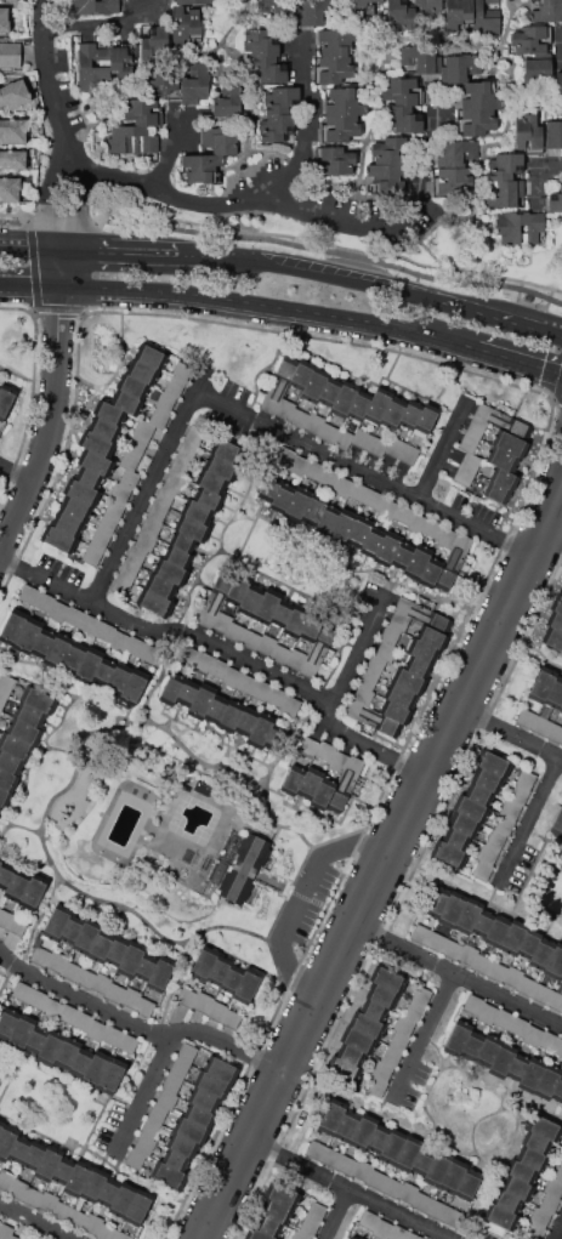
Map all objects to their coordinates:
building: (8, 0)
building: (193, 1)
building: (368, 1)
building: (93, 6)
building: (428, 6)
building: (310, 11)
building: (547, 11)
building: (459, 12)
building: (401, 15)
building: (486, 16)
building: (4, 19)
road: (234, 21)
road: (93, 23)
building: (185, 24)
building: (532, 39)
building: (261, 41)
building: (336, 42)
building: (154, 44)
building: (10, 55)
building: (421, 57)
building: (101, 64)
building: (269, 68)
building: (461, 68)
building: (331, 69)
building: (538, 69)
building: (163, 83)
building: (195, 83)
building: (558, 89)
building: (402, 91)
building: (13, 95)
building: (481, 95)
building: (228, 100)
building: (282, 100)
building: (345, 102)
building: (141, 110)
building: (404, 118)
building: (476, 121)
building: (276, 126)
building: (340, 127)
building: (12, 130)
building: (528, 131)
building: (552, 135)
building: (131, 140)
road: (58, 141)
building: (218, 141)
building: (390, 147)
building: (455, 153)
building: (12, 159)
building: (336, 160)
building: (386, 166)
building: (201, 169)
road: (538, 171)
building: (507, 178)
building: (453, 181)
building: (10, 189)
building: (555, 200)
road: (248, 204)
road: (393, 225)
building: (523, 227)
road: (283, 244)
road: (28, 246)
road: (117, 249)
road: (188, 252)
road: (314, 269)
road: (29, 284)
road: (268, 306)
road: (495, 313)
building: (151, 356)
road: (518, 362)
building: (141, 370)
building: (181, 371)
building: (301, 374)
building: (278, 385)
building: (314, 385)
building: (131, 386)
building: (174, 387)
building: (330, 391)
building: (6, 399)
building: (345, 399)
building: (165, 400)
building: (126, 403)
building: (359, 405)
building: (377, 405)
building: (284, 409)
building: (393, 411)
building: (109, 413)
building: (411, 414)
building: (159, 417)
building: (297, 417)
building: (426, 417)
building: (503, 421)
building: (313, 422)
road: (52, 426)
building: (103, 427)
building: (477, 427)
building: (143, 428)
building: (328, 432)
building: (194, 434)
building: (342, 438)
building: (361, 438)
building: (469, 442)
building: (96, 443)
building: (509, 443)
building: (137, 444)
building: (376, 445)
building: (394, 447)
building: (187, 450)
building: (226, 450)
building: (409, 454)
road: (439, 454)
building: (285, 456)
building: (503, 459)
building: (129, 460)
building: (95, 461)
building: (471, 461)
building: (299, 464)
building: (180, 466)
building: (222, 467)
building: (314, 470)
road: (18, 472)
building: (464, 476)
building: (89, 477)
building: (329, 477)
road: (365, 477)
building: (504, 477)
building: (129, 478)
building: (175, 482)
building: (211, 482)
building: (344, 487)
building: (269, 488)
building: (81, 491)
building: (119, 491)
building: (359, 491)
building: (496, 491)
building: (165, 495)
road: (147, 498)
building: (282, 498)
building: (208, 499)
building: (375, 500)
building: (299, 502)
building: (74, 507)
building: (115, 508)
building: (314, 508)
building: (388, 508)
building: (158, 511)
building: (195, 511)
building: (404, 513)
building: (328, 519)
building: (67, 523)
building: (107, 523)
building: (418, 523)
building: (151, 525)
building: (342, 525)
building: (192, 528)
building: (433, 528)
building: (358, 532)
building: (447, 538)
building: (58, 539)
building: (100, 539)
building: (146, 541)
building: (182, 541)
building: (373, 541)
building: (387, 547)
building: (92, 555)
building: (136, 555)
building: (177, 556)
building: (402, 556)
building: (418, 562)
building: (453, 562)
building: (129, 570)
building: (170, 572)
building: (431, 572)
building: (121, 585)
building: (160, 586)
building: (238, 590)
building: (560, 591)
building: (29, 595)
building: (250, 599)
building: (44, 601)
building: (153, 602)
building: (214, 602)
building: (557, 604)
building: (267, 606)
building: (58, 610)
building: (282, 613)
building: (422, 614)
building: (73, 615)
building: (399, 620)
building: (555, 620)
building: (222, 621)
building: (296, 621)
building: (89, 624)
building: (13, 626)
building: (311, 629)
building: (104, 631)
building: (235, 632)
building: (390, 635)
building: (28, 636)
building: (432, 637)
building: (552, 637)
building: (250, 640)
building: (119, 641)
building: (42, 643)
building: (266, 644)
building: (134, 646)
road: (225, 646)
road: (357, 649)
building: (57, 650)
building: (317, 652)
building: (386, 652)
building: (422, 652)
building: (149, 653)
building: (280, 654)
building: (188, 655)
building: (73, 657)
building: (295, 659)
building: (203, 661)
building: (89, 664)
building: (375, 665)
building: (416, 666)
building: (217, 667)
building: (103, 671)
building: (232, 676)
building: (118, 678)
building: (368, 680)
building: (408, 680)
building: (6, 683)
building: (246, 684)
building: (541, 684)
building: (134, 687)
building: (171, 688)
building: (261, 690)
building: (187, 692)
building: (555, 694)
building: (277, 695)
building: (362, 695)
building: (399, 695)
building: (2, 699)
building: (38, 699)
building: (201, 700)
building: (290, 706)
building: (216, 709)
building: (560, 710)
building: (0, 711)
building: (394, 711)
building: (29, 714)
building: (231, 716)
building: (373, 717)
building: (526, 718)
building: (246, 721)
building: (541, 726)
building: (261, 729)
building: (23, 731)
road: (511, 733)
building: (555, 733)
building: (276, 737)
building: (561, 744)
building: (16, 746)
building: (308, 748)
building: (325, 751)
building: (339, 761)
building: (11, 762)
building: (493, 762)
building: (487, 779)
building: (526, 779)
building: (8, 780)
building: (293, 780)
building: (310, 783)
building: (345, 784)
building: (203, 788)
building: (323, 794)
building: (478, 794)
building: (518, 795)
building: (4, 797)
building: (471, 808)
building: (1, 809)
building: (510, 809)
building: (462, 823)
building: (557, 823)
road: (533, 824)
building: (504, 825)
building: (456, 839)
building: (494, 840)
road: (354, 852)
building: (449, 853)
building: (487, 854)
building: (1, 859)
building: (244, 868)
road: (384, 869)
building: (482, 870)
building: (5, 874)
building: (17, 886)
building: (33, 892)
road: (300, 897)
building: (437, 902)
building: (453, 909)
building: (469, 916)
building: (5, 917)
building: (57, 921)
building: (483, 922)
building: (17, 925)
building: (72, 928)
building: (498, 931)
building: (421, 933)
building: (86, 936)
building: (513, 937)
building: (437, 942)
building: (528, 944)
building: (101, 945)
building: (453, 949)
building: (117, 951)
building: (543, 953)
building: (467, 954)
building: (40, 956)
building: (131, 959)
building: (56, 960)
building: (204, 962)
building: (555, 962)
building: (481, 964)
building: (146, 966)
building: (496, 970)
building: (70, 971)
building: (218, 971)
building: (160, 973)
road: (460, 973)
road: (296, 974)
building: (512, 976)
building: (561, 977)
building: (85, 978)
building: (387, 979)
building: (231, 981)
building: (102, 983)
building: (246, 985)
building: (527, 985)
building: (23, 990)
building: (114, 991)
building: (541, 993)
building: (381, 995)
building: (420, 995)
building: (130, 996)
building: (187, 996)
building: (38, 999)
building: (555, 1000)
building: (203, 1002)
building: (473, 1004)
building: (52, 1006)
building: (143, 1006)
building: (216, 1010)
building: (374, 1010)
building: (413, 1011)
building: (68, 1013)
building: (487, 1013)
building: (231, 1018)
building: (503, 1018)
building: (83, 1021)
building: (7, 1023)
road: (138, 1024)
building: (367, 1024)
building: (404, 1024)
building: (518, 1025)
building: (96, 1030)
building: (22, 1031)
building: (112, 1035)
building: (533, 1035)
building: (458, 1036)
building: (36, 1040)
building: (358, 1040)
building: (398, 1040)
building: (549, 1040)
road: (426, 1041)
building: (127, 1042)
building: (472, 1045)
building: (51, 1047)
building: (558, 1047)
building: (488, 1051)
building: (186, 1052)
building: (67, 1053)
building: (351, 1055)
building: (392, 1056)
building: (503, 1059)
building: (80, 1062)
building: (344, 1067)
building: (518, 1067)
building: (96, 1068)
building: (178, 1068)
building: (221, 1068)
building: (381, 1069)
building: (532, 1074)
building: (112, 1075)
building: (547, 1081)
building: (171, 1084)
building: (212, 1084)
building: (377, 1086)
road: (144, 1091)
building: (558, 1091)
building: (166, 1099)
building: (204, 1099)
building: (157, 1114)
building: (199, 1115)
building: (331, 1118)
building: (1, 1125)
building: (346, 1126)
building: (544, 1127)
building: (149, 1129)
building: (191, 1130)
building: (363, 1131)
building: (377, 1138)
building: (7, 1141)
building: (535, 1142)
building: (144, 1144)
building: (182, 1144)
building: (392, 1146)
building: (19, 1149)
building: (316, 1149)
building: (408, 1153)
building: (34, 1155)
building: (136, 1158)
building: (331, 1158)
building: (532, 1158)
building: (560, 1158)
building: (176, 1160)
building: (422, 1161)
building: (49, 1163)
building: (347, 1164)
building: (437, 1167)
building: (362, 1170)
building: (63, 1171)
building: (521, 1171)
building: (558, 1173)
building: (169, 1175)
building: (453, 1176)
building: (76, 1178)
building: (6, 1180)
building: (376, 1180)
building: (469, 1183)
building: (93, 1184)
building: (391, 1187)
building: (516, 1187)
building: (554, 1188)
building: (17, 1189)
road: (351, 1190)
building: (108, 1192)
building: (407, 1192)
building: (282, 1195)
building: (32, 1197)
building: (123, 1200)
building: (506, 1200)
building: (47, 1201)
building: (421, 1201)
building: (550, 1204)
building: (138, 1207)
building: (437, 1209)
building: (62, 1210)
building: (276, 1211)
building: (316, 1211)
road: (340, 1215)
building: (500, 1216)
building: (539, 1216)
building: (78, 1217)
building: (453, 1217)
road: (39, 1220)
building: (368, 1220)
building: (0, 1222)
building: (92, 1223)
building: (268, 1226)
building: (308, 1227)
building: (382, 1228)
building: (5, 1231)
building: (107, 1232)
building: (534, 1232)
building: (398, 1233)
building: (256, 1234)
building: (123, 1235)
building: (299, 1235)
road: (561, 1235)
building: (15, 1237)
building: (414, 1237)
road: (74, 1238)
building: (353, 1238)

